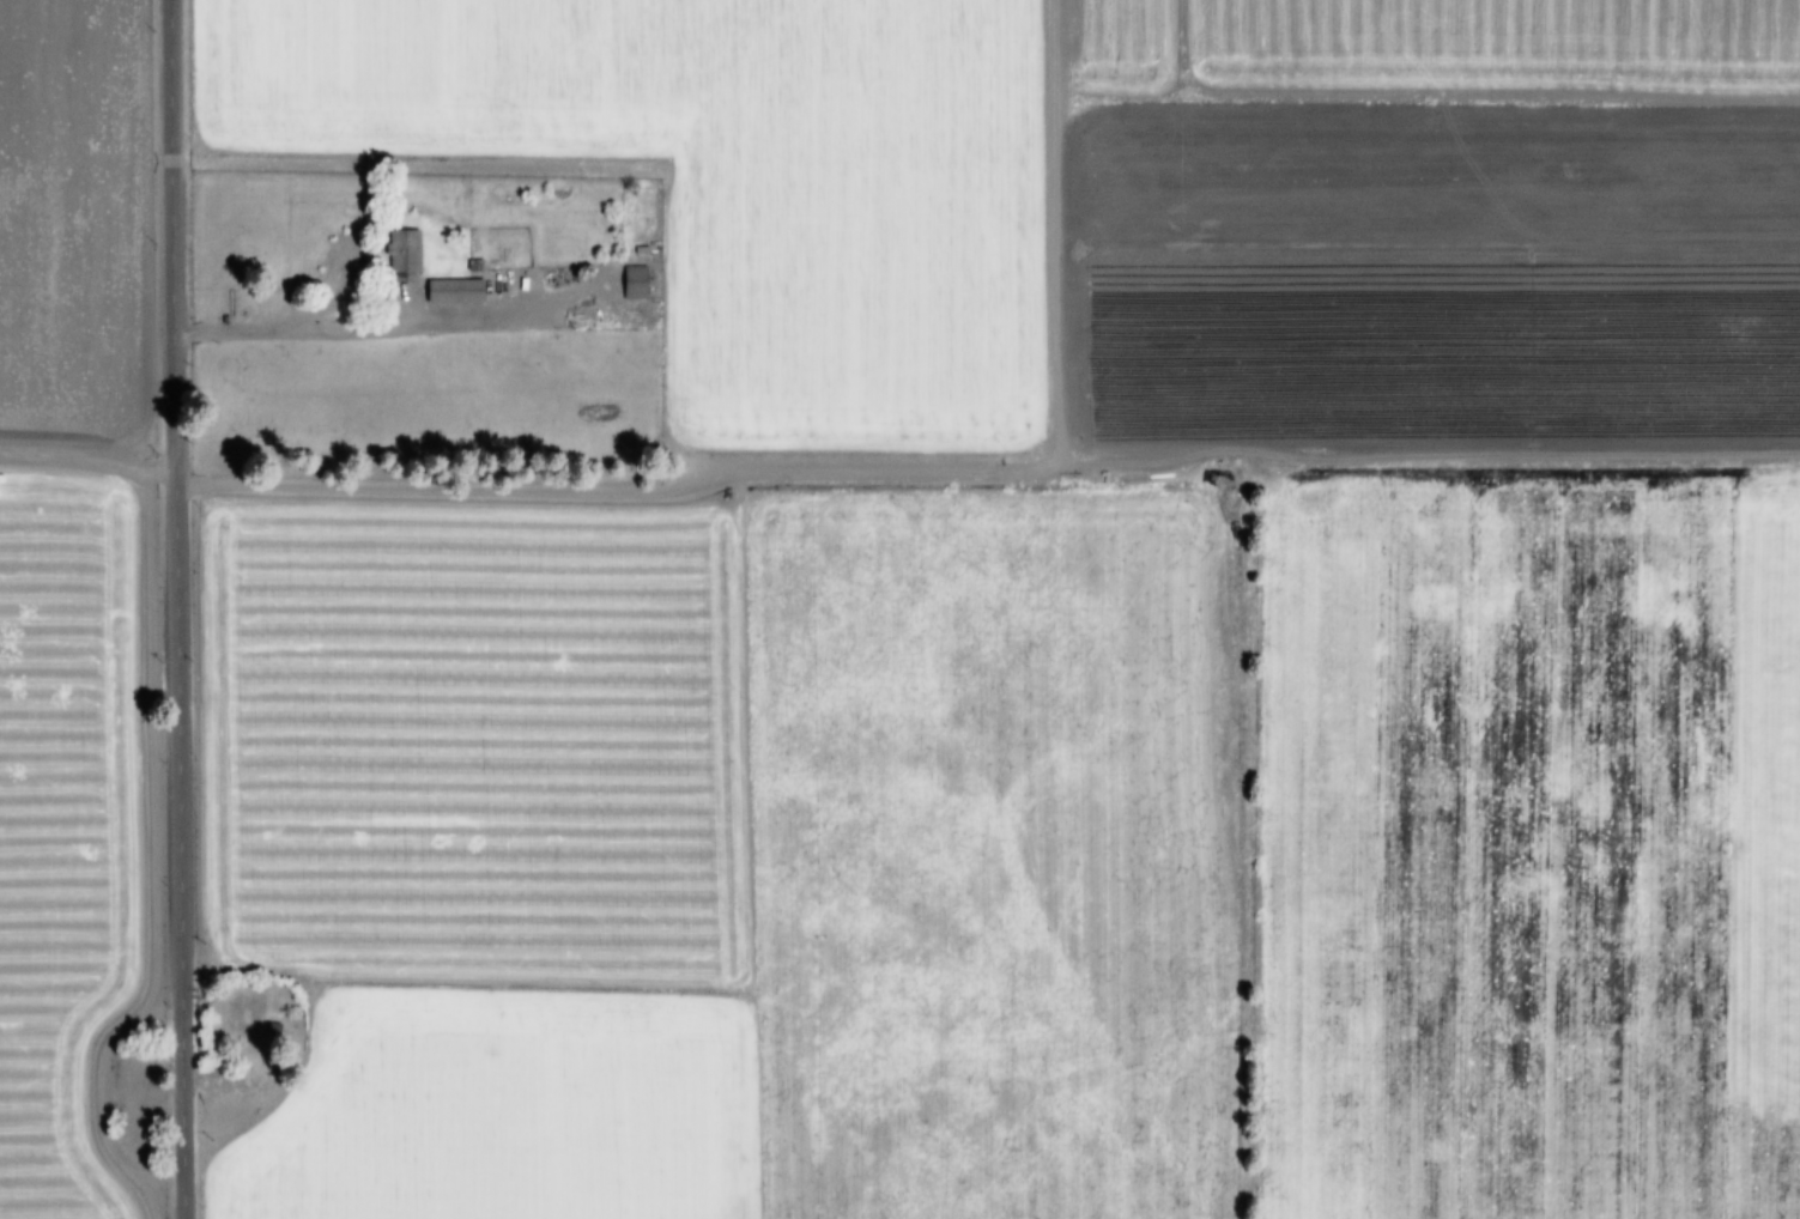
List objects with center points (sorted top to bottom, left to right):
building: (405, 257)
building: (636, 284)
building: (456, 293)
road: (164, 609)

